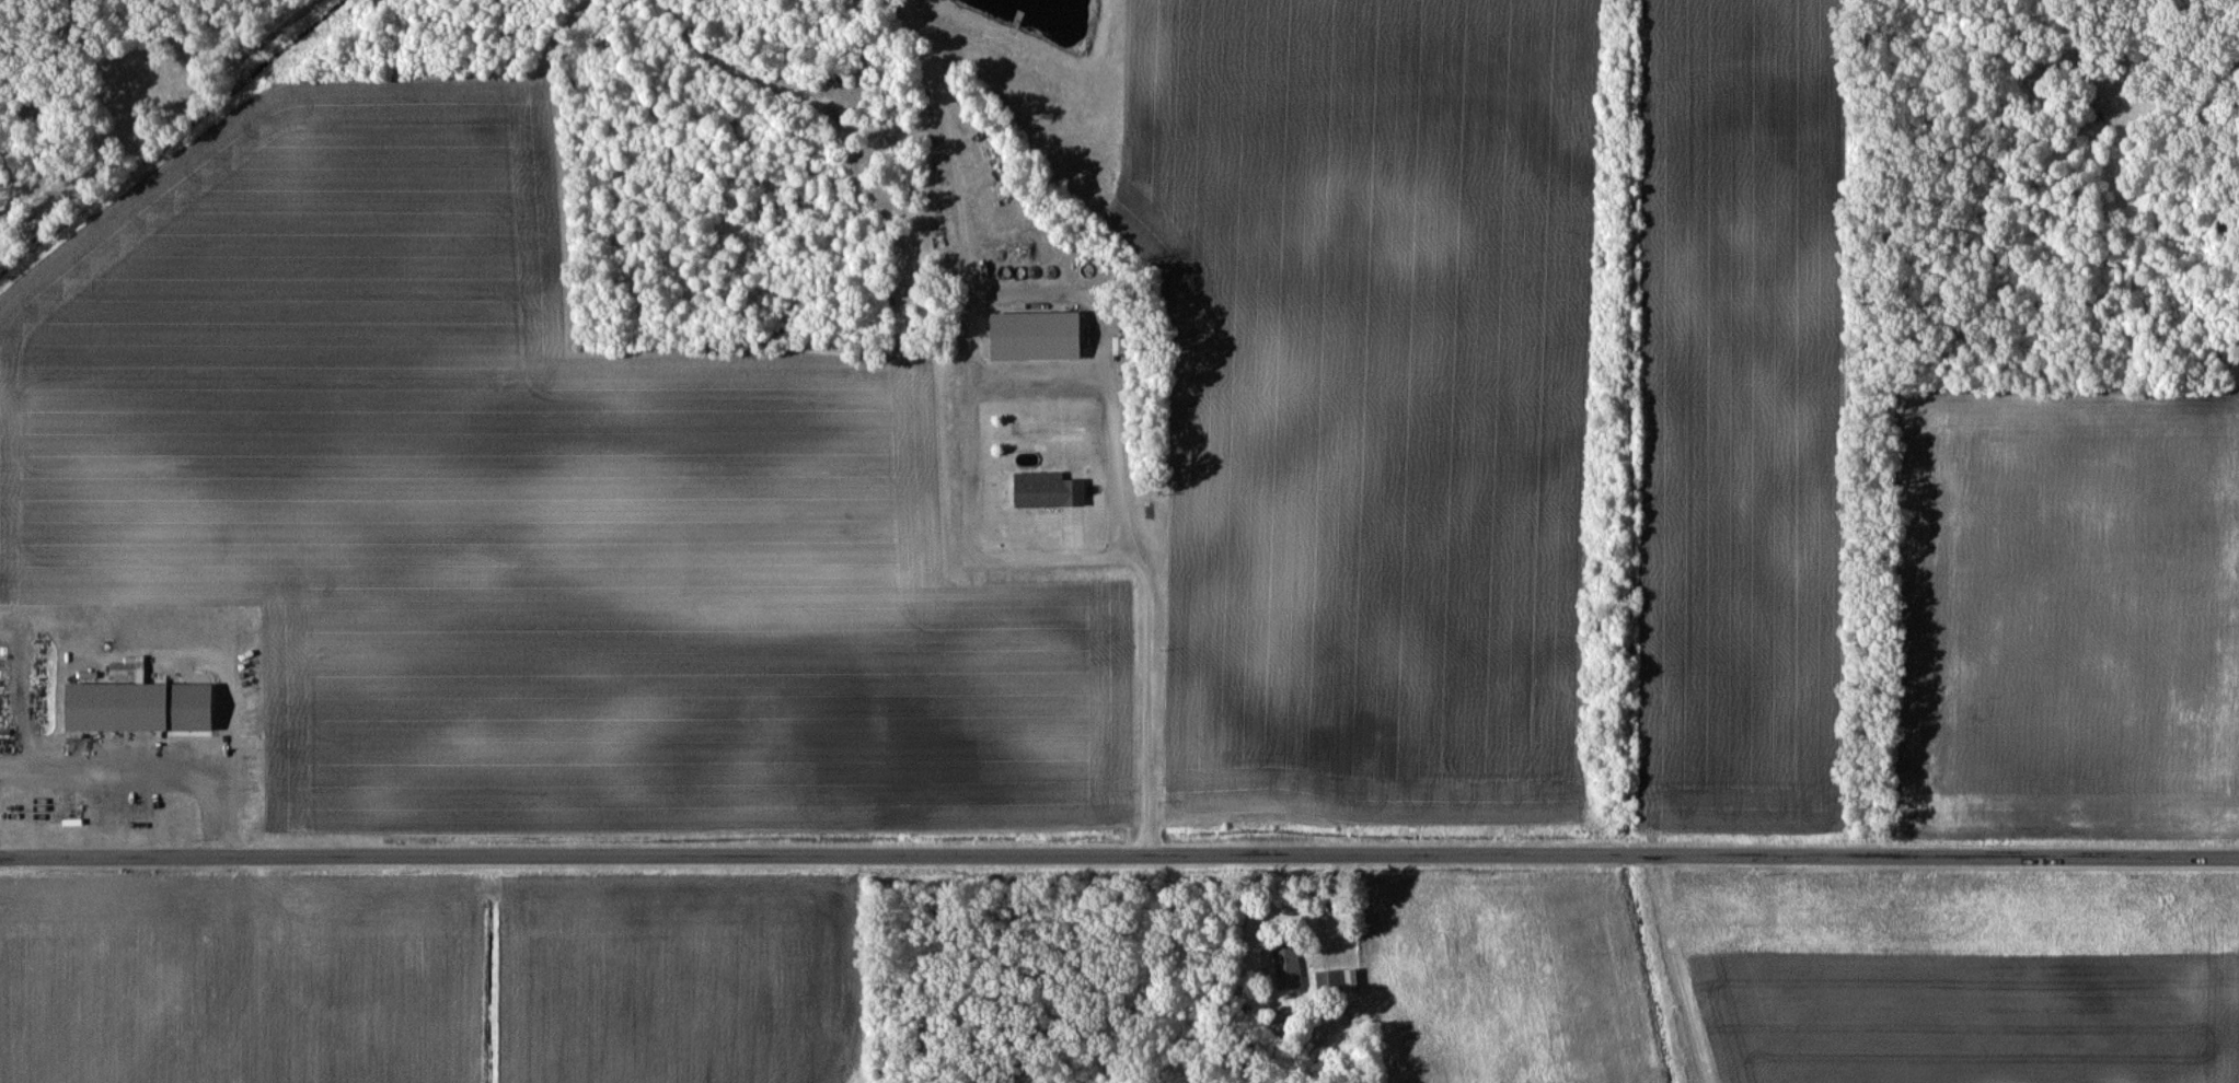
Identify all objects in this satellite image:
building: (1049, 490)
road: (1151, 651)
building: (123, 707)
building: (149, 813)
road: (1119, 853)
building: (1285, 968)
building: (1338, 983)

